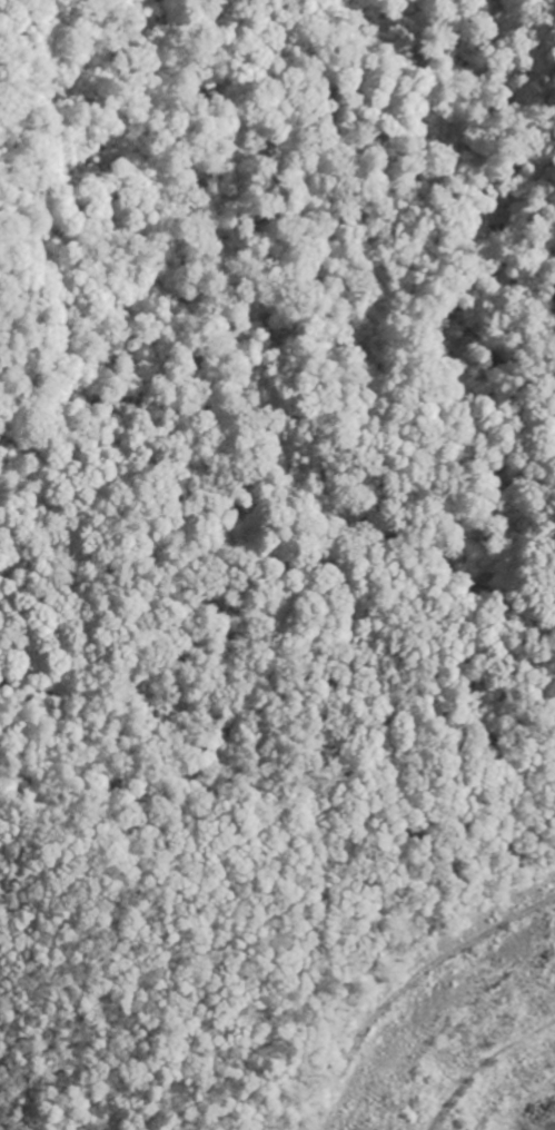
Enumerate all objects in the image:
road: (262, 211)
road: (262, 513)

